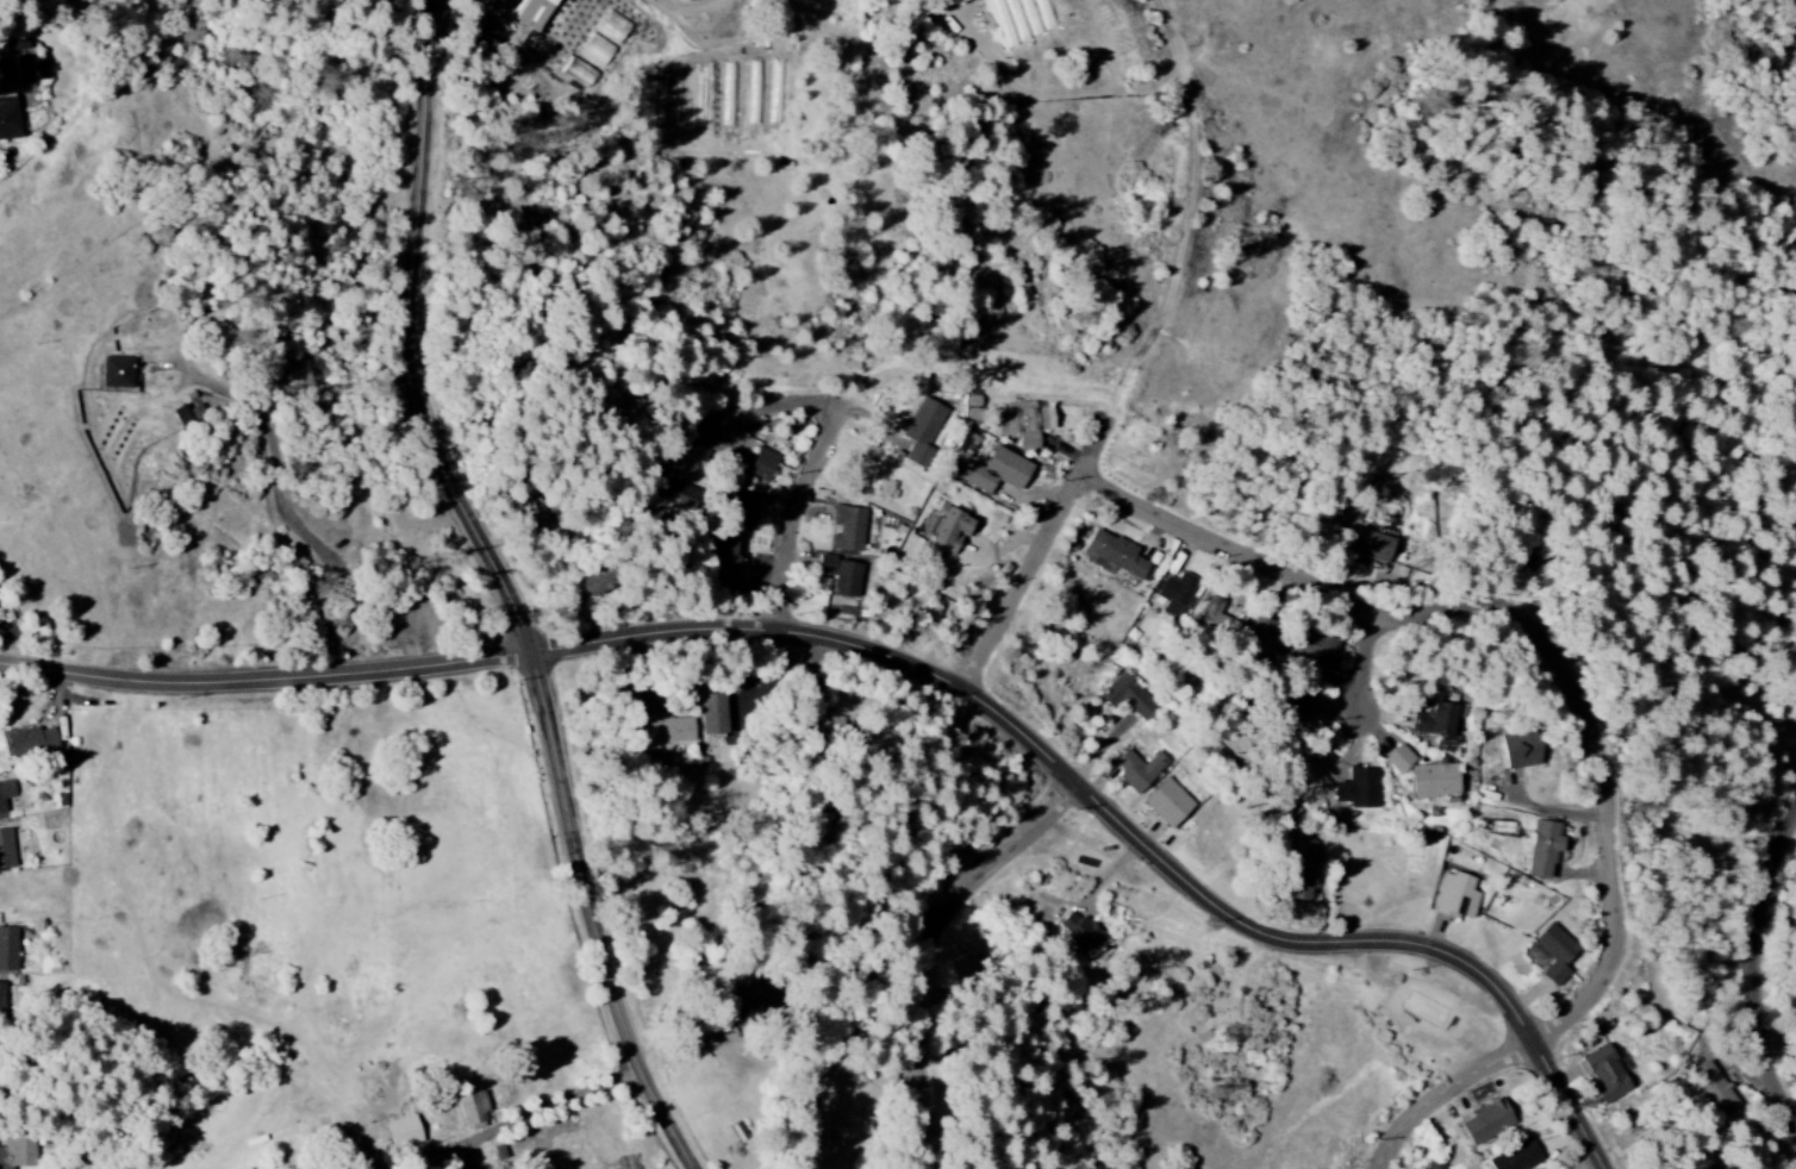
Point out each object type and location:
road: (703, 8)
building: (526, 11)
building: (2, 50)
building: (579, 73)
building: (8, 120)
road: (638, 295)
road: (740, 295)
building: (117, 373)
building: (188, 418)
building: (1022, 425)
building: (923, 430)
road: (825, 460)
building: (763, 464)
building: (997, 473)
building: (680, 495)
building: (735, 505)
building: (847, 530)
building: (952, 531)
building: (1371, 546)
road: (1044, 551)
building: (1118, 556)
building: (722, 561)
building: (827, 565)
building: (847, 580)
building: (595, 583)
road: (512, 590)
building: (1175, 594)
building: (1211, 614)
building: (1260, 633)
building: (1320, 650)
road: (904, 659)
road: (1372, 673)
building: (1128, 698)
road: (1585, 704)
building: (713, 715)
building: (1446, 723)
building: (671, 731)
building: (31, 743)
building: (1527, 752)
building: (1405, 762)
building: (1139, 770)
building: (1440, 782)
building: (1362, 792)
building: (6, 793)
building: (1168, 804)
building: (6, 850)
building: (1544, 850)
building: (1302, 871)
building: (1454, 896)
building: (1083, 936)
road: (933, 945)
building: (7, 949)
building: (1555, 955)
road: (1759, 971)
building: (2, 996)
building: (757, 1001)
building: (1608, 1074)
building: (1714, 1089)
building: (473, 1111)
road: (536, 1113)
building: (1485, 1123)
building: (404, 1131)
building: (18, 1151)
building: (1516, 1157)
building: (1438, 1165)

